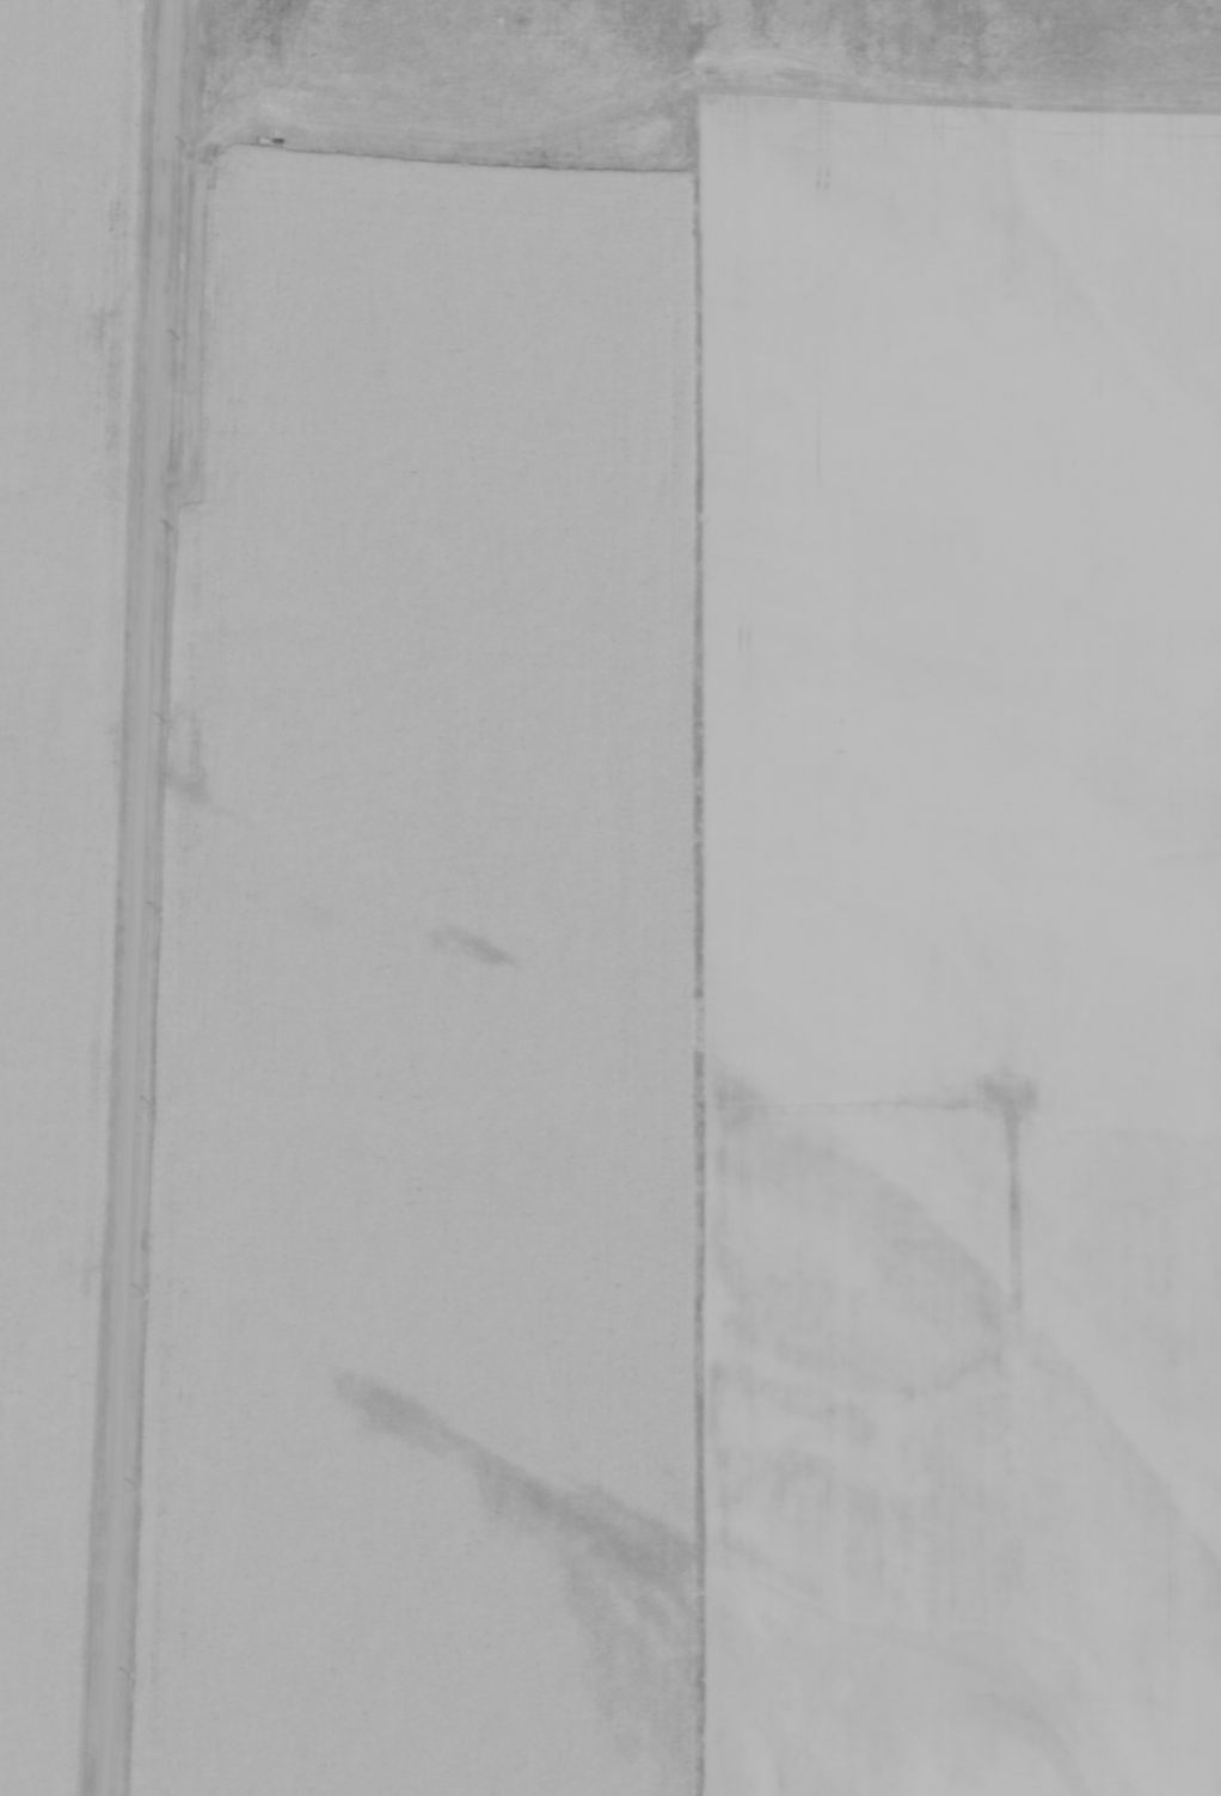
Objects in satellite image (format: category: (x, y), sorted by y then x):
road: (136, 897)

